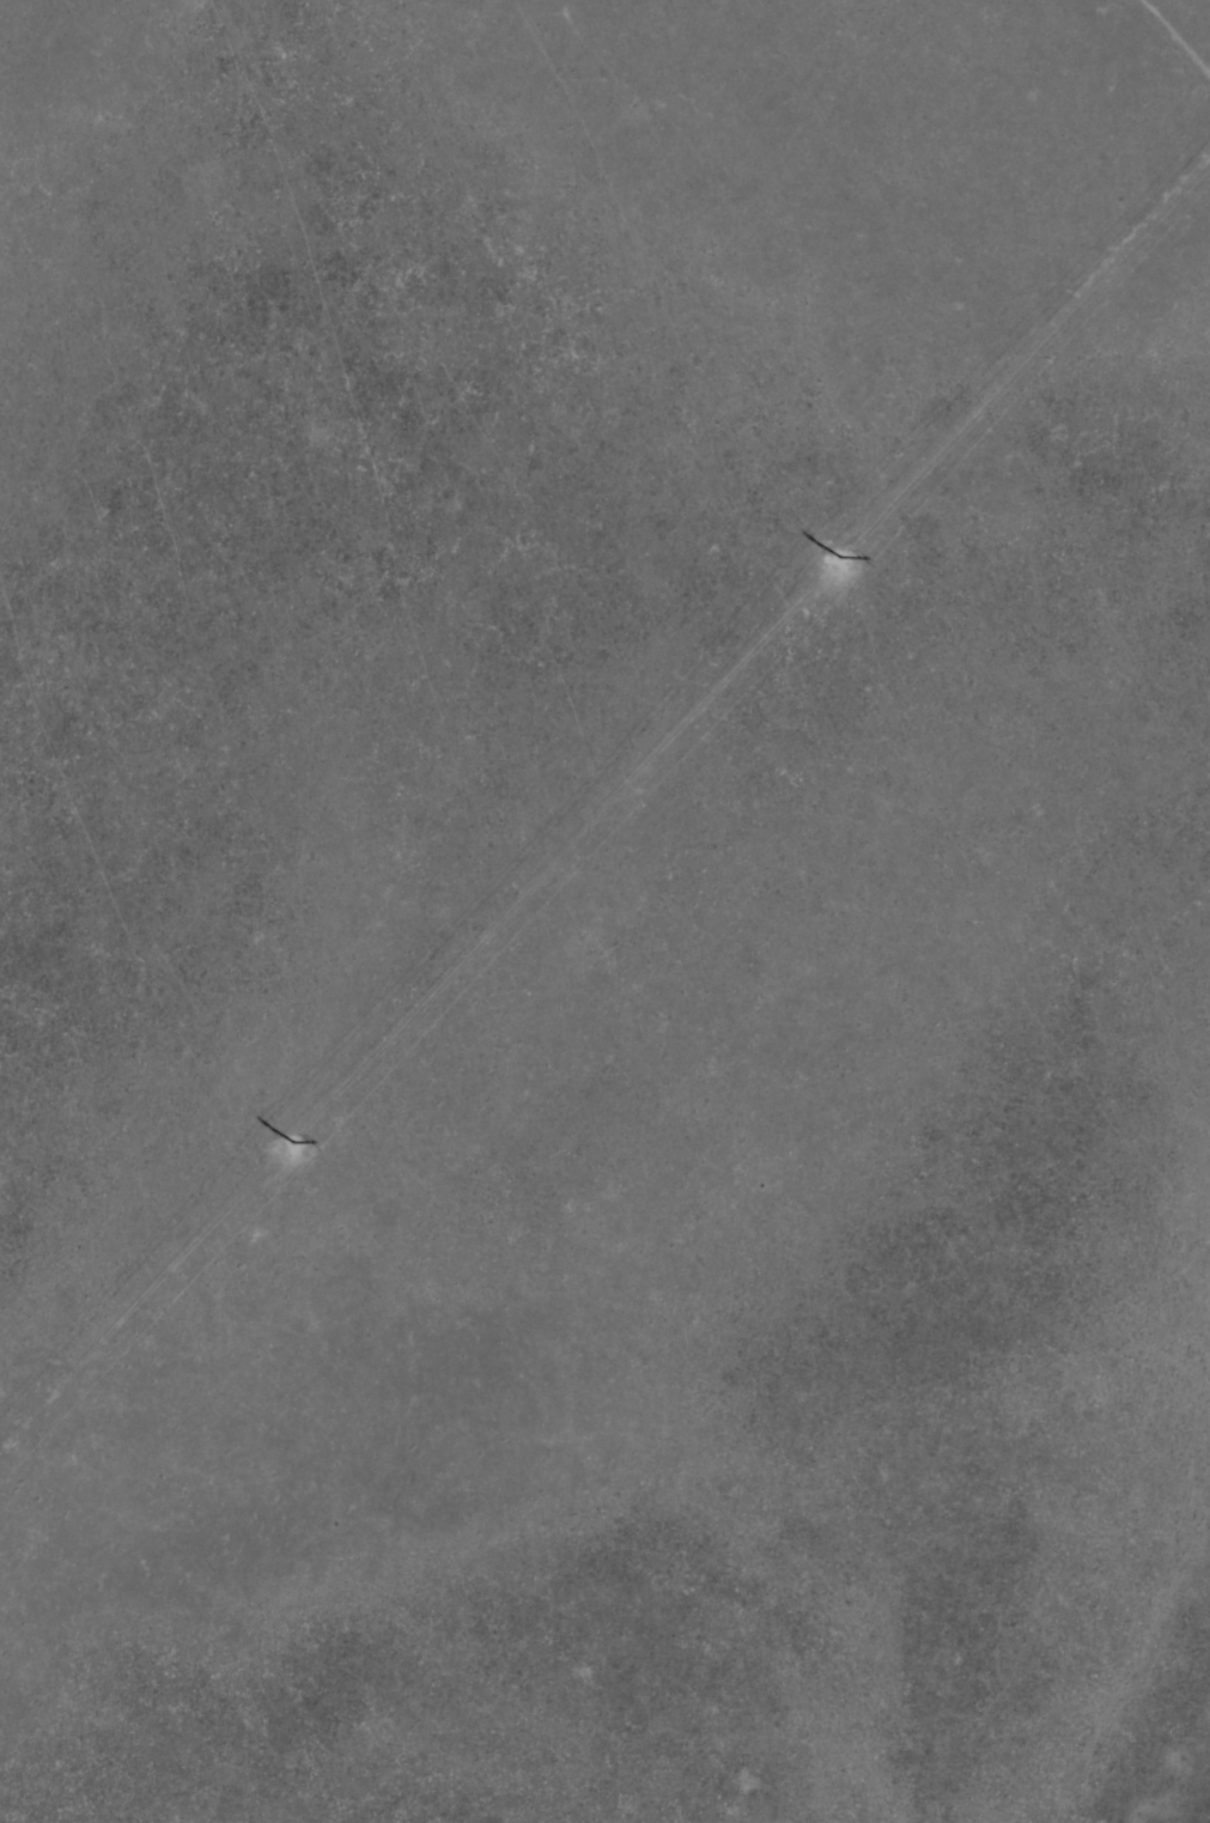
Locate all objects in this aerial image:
power tower: (837, 558)
power tower: (290, 1142)

